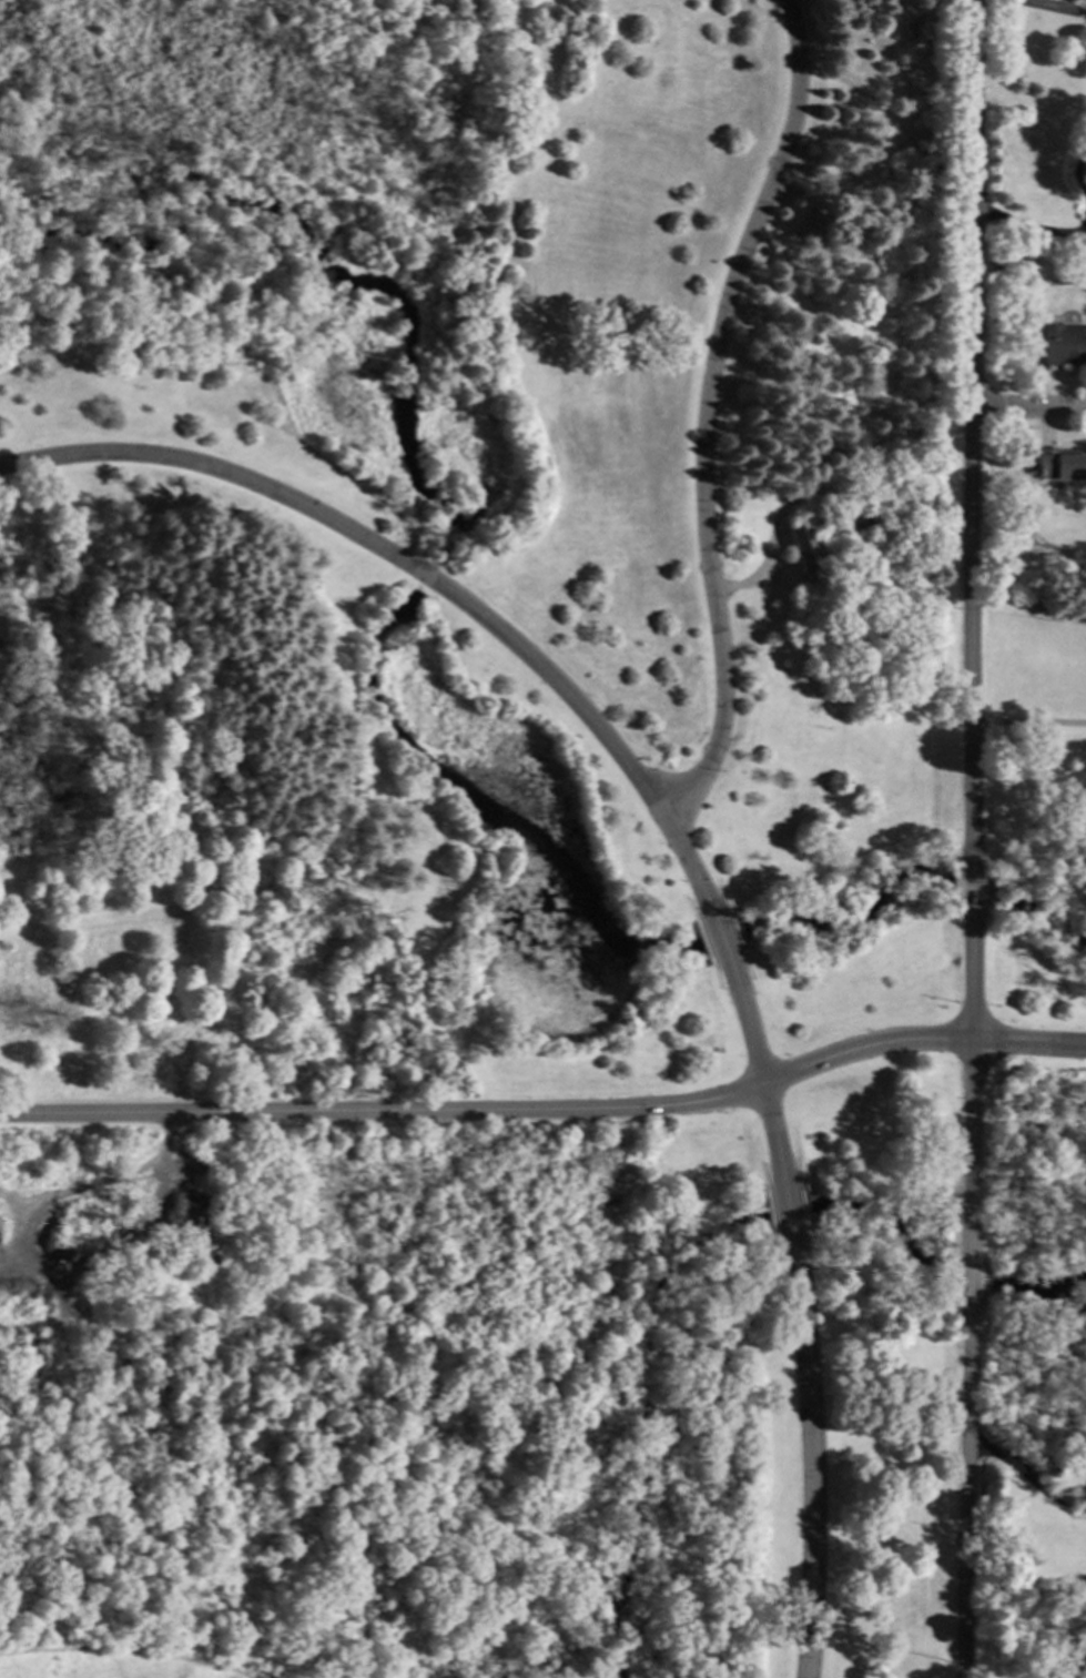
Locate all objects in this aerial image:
road: (1045, 8)
road: (1028, 230)
road: (875, 251)
building: (1063, 345)
road: (1028, 407)
road: (706, 411)
road: (972, 429)
building: (1057, 465)
road: (213, 468)
road: (788, 509)
park: (476, 543)
building: (805, 552)
road: (427, 576)
road: (1029, 607)
building: (781, 616)
road: (1028, 727)
road: (601, 734)
road: (255, 742)
road: (972, 886)
road: (720, 939)
road: (972, 974)
road: (745, 1022)
road: (918, 1039)
road: (380, 1111)
road: (772, 1134)
park: (1033, 1142)
road: (970, 1152)
road: (757, 1161)
road: (18, 1199)
road: (769, 1214)
road: (786, 1214)
road: (773, 1253)
road: (6, 1263)
road: (40, 1271)
road: (967, 1284)
road: (410, 1314)
park: (487, 1392)
road: (809, 1459)
road: (719, 1472)
road: (1021, 1473)
road: (965, 1490)
road: (1080, 1503)
road: (1080, 1506)
park: (1028, 1639)
road: (124, 1650)

